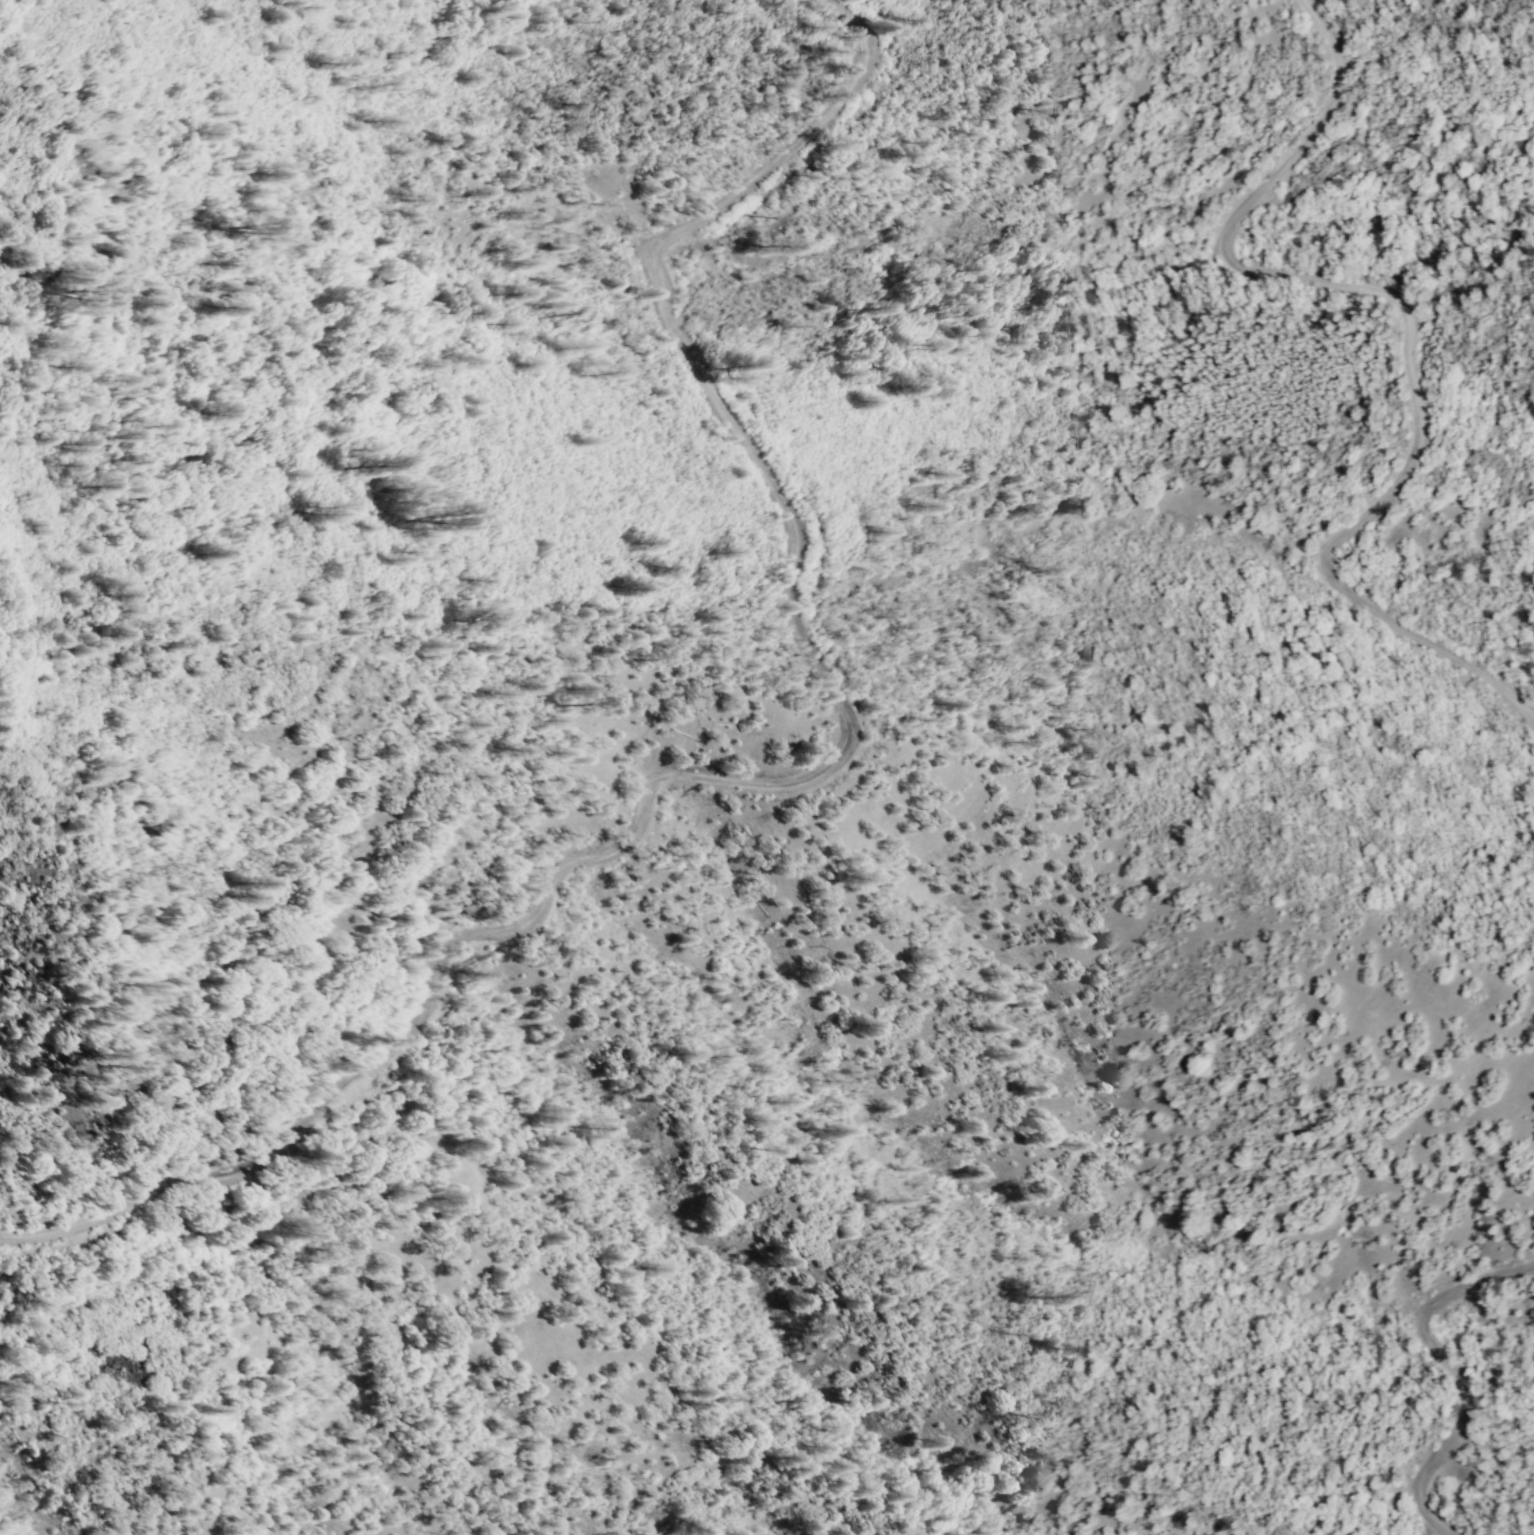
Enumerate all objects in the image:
road: (1432, 292)
road: (1400, 345)
road: (768, 778)
road: (1449, 1375)

